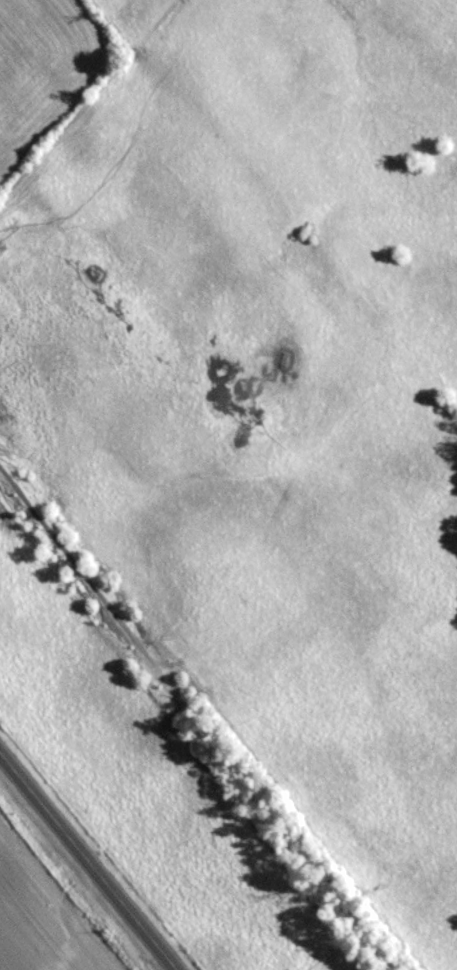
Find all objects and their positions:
road: (86, 863)
crop: (43, 915)

